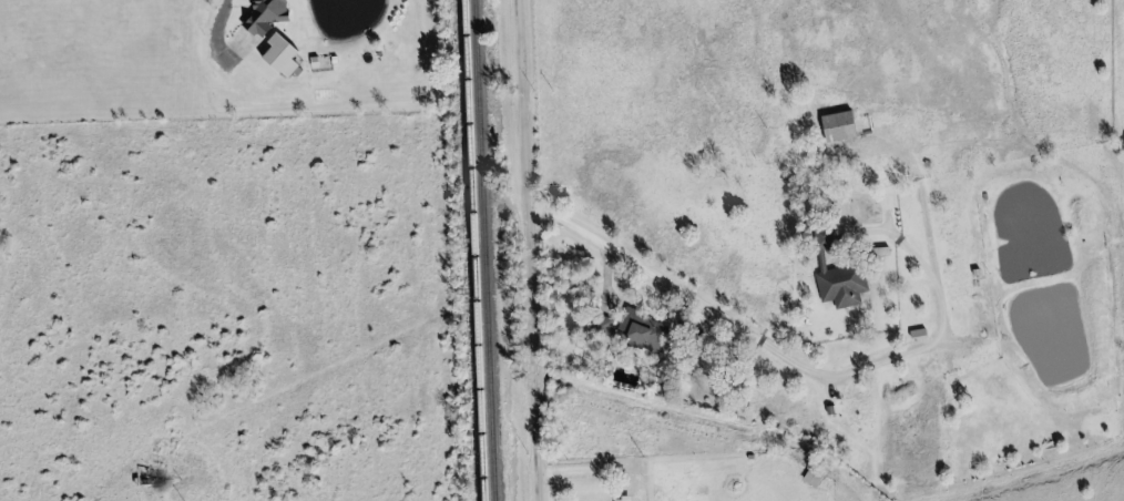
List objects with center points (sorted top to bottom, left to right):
building: (832, 124)
building: (822, 241)
railway: (488, 250)
road: (534, 250)
building: (835, 277)
building: (601, 327)
building: (631, 328)
road: (789, 352)
road: (585, 469)
building: (638, 489)
road: (173, 495)

